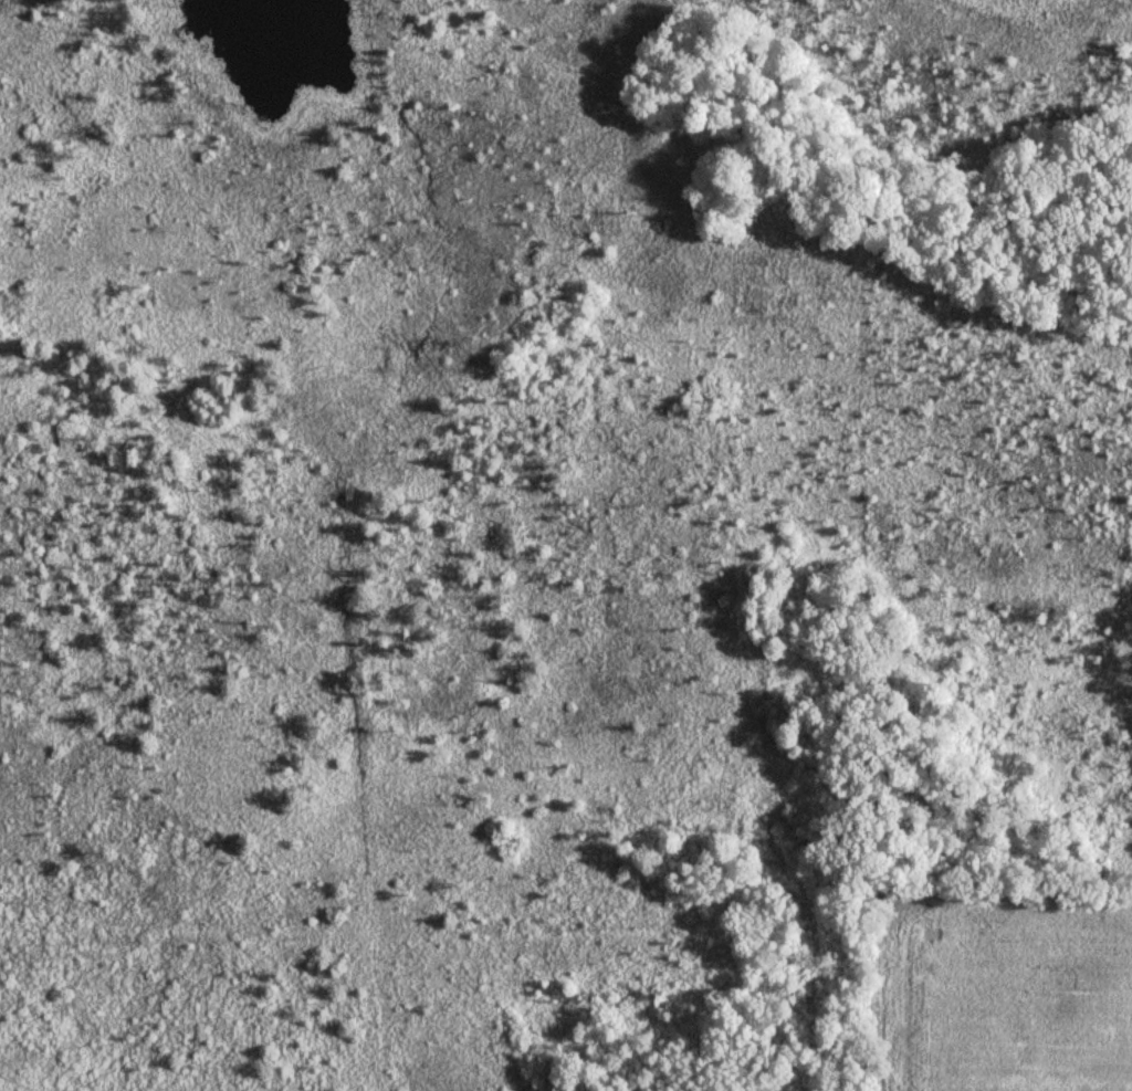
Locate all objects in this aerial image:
crop: (1007, 999)

